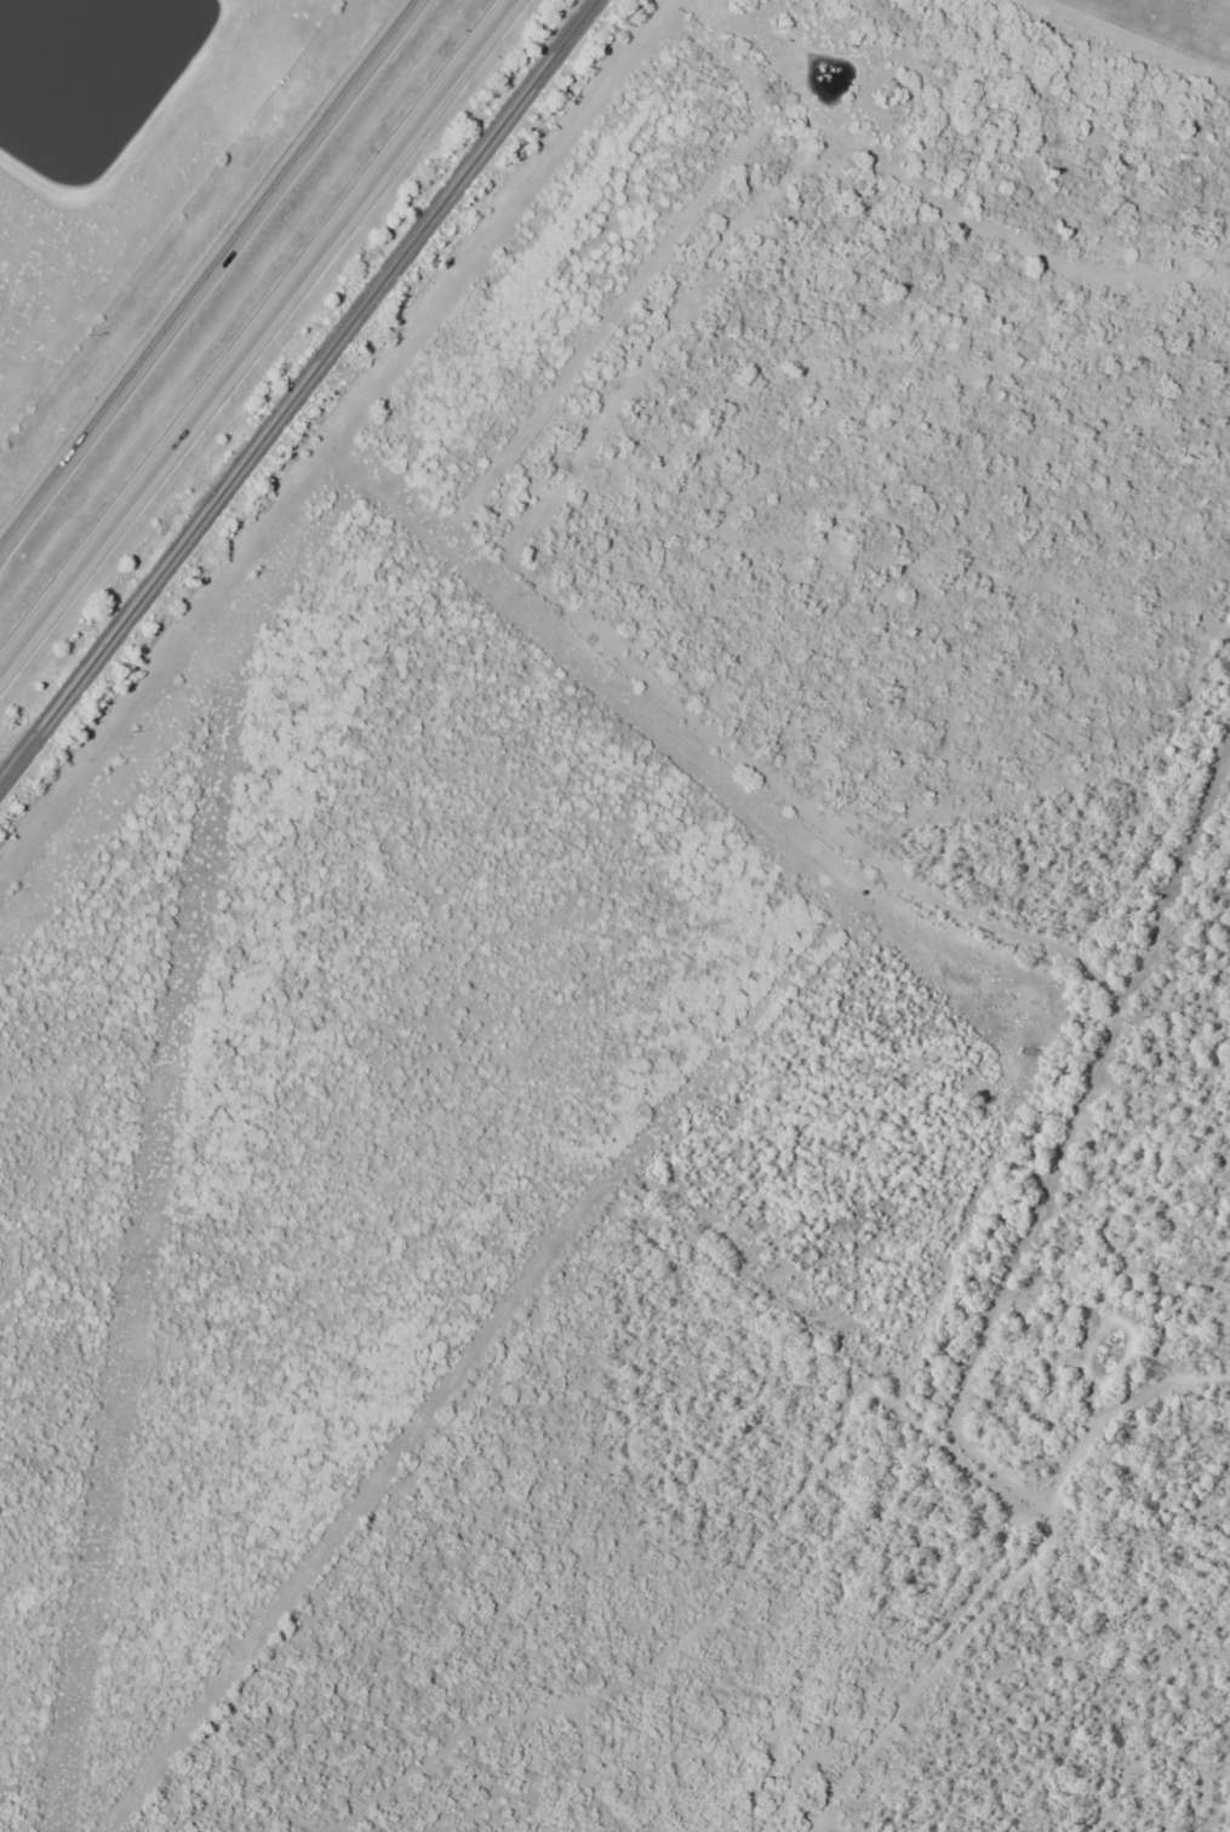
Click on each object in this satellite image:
road: (207, 271)
road: (250, 330)
railway: (299, 395)
road: (334, 453)
road: (807, 866)

